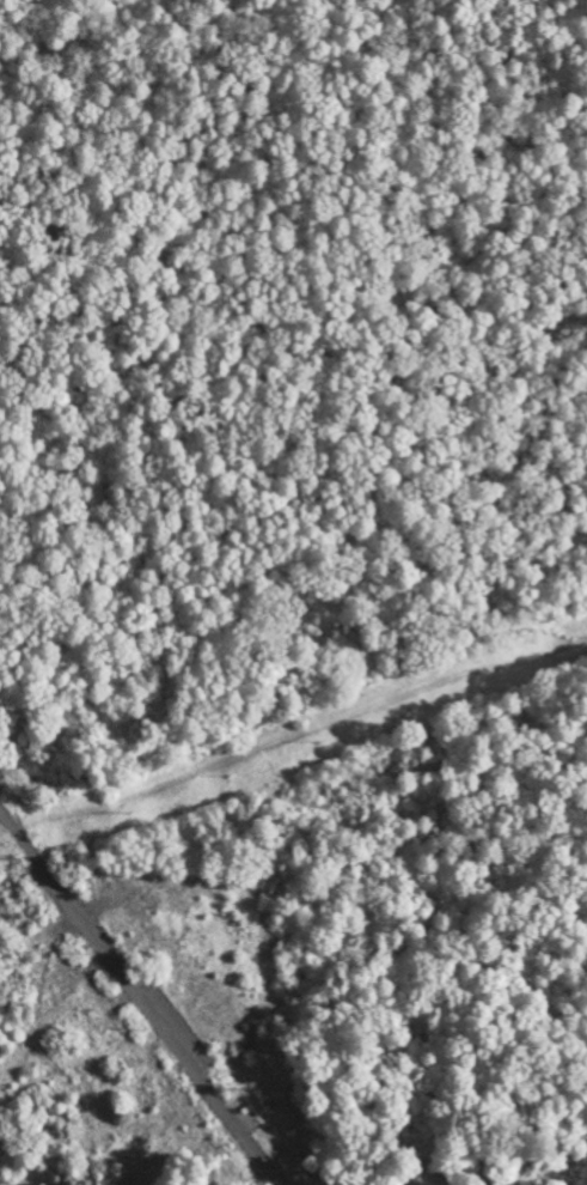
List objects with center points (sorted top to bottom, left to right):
road: (140, 1001)

